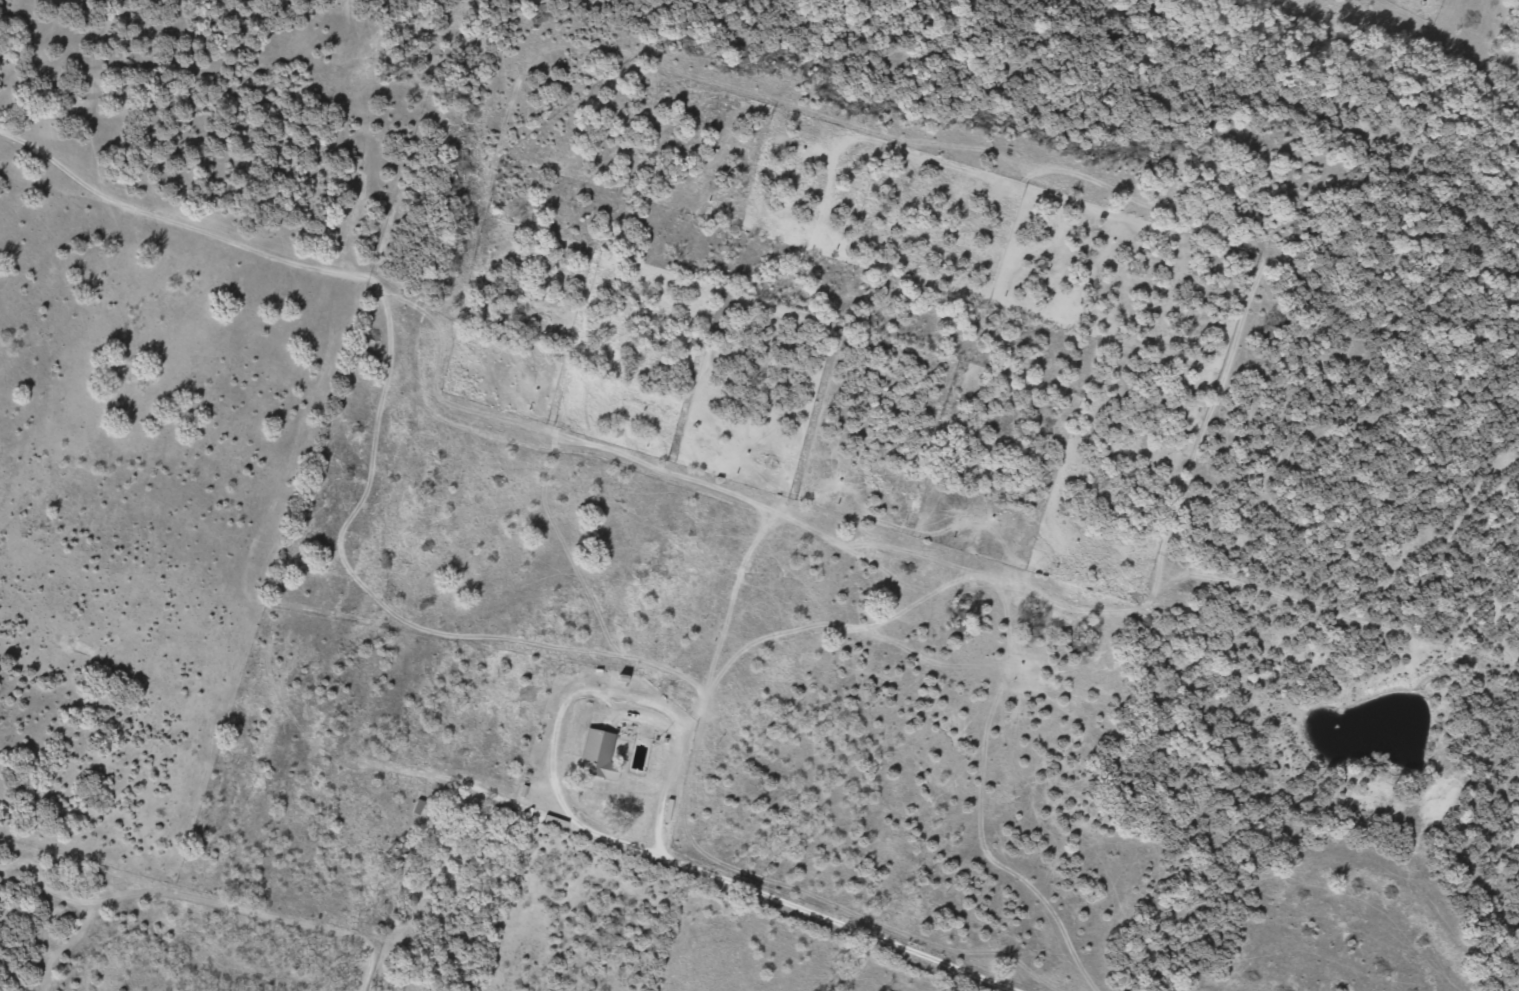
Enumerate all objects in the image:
building: (598, 753)
building: (418, 805)

